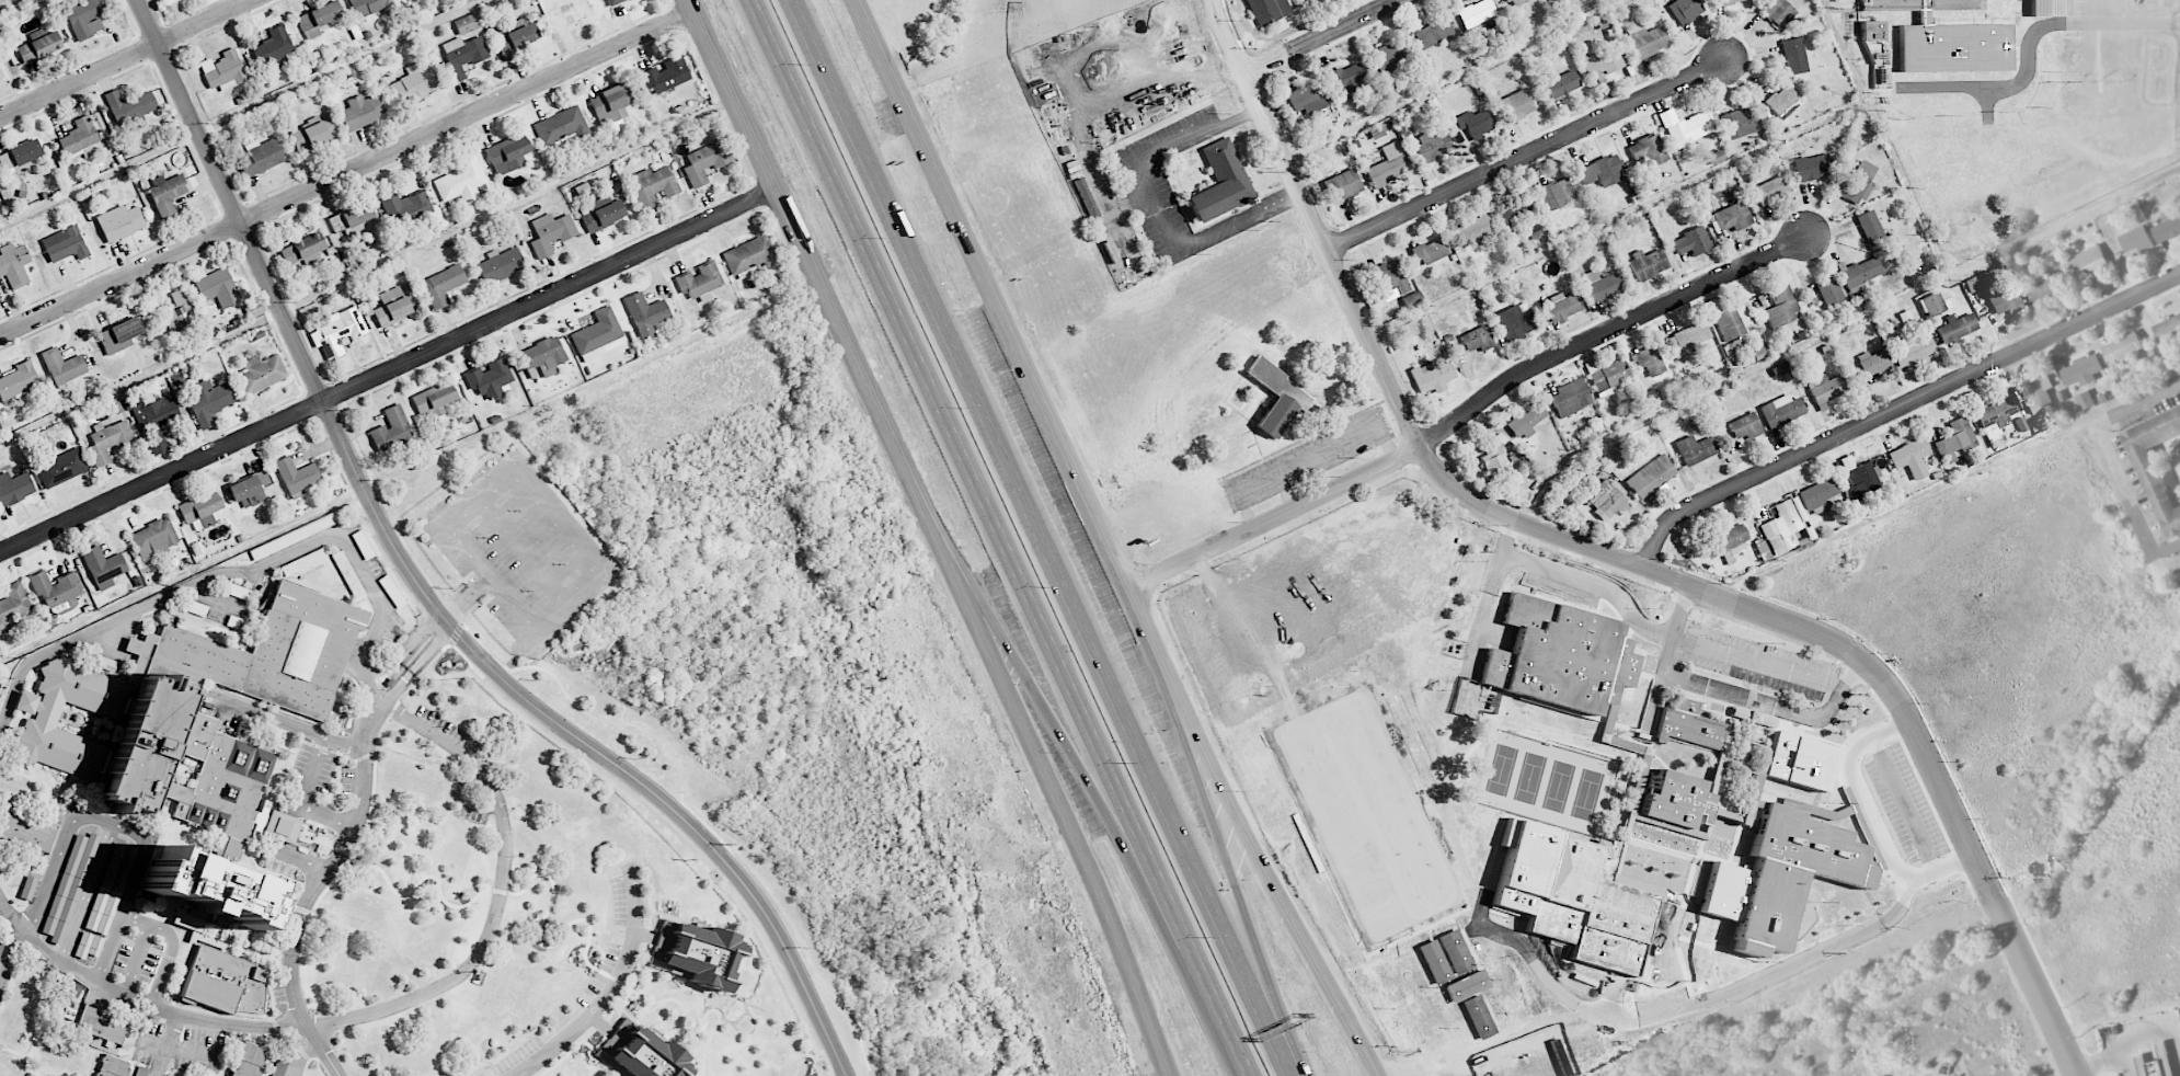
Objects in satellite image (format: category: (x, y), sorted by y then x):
building: (1306, 0)
building: (1726, 1)
building: (613, 2)
building: (1515, 2)
building: (2045, 8)
building: (1267, 10)
building: (1685, 10)
building: (1776, 12)
building: (1476, 13)
building: (83, 18)
building: (317, 19)
building: (467, 23)
building: (1870, 31)
building: (1433, 33)
building: (517, 37)
road: (1322, 37)
building: (1946, 38)
building: (1645, 39)
road: (2030, 44)
building: (39, 47)
building: (273, 47)
building: (1793, 56)
building: (461, 57)
road: (123, 58)
building: (1388, 59)
building: (1602, 65)
building: (223, 70)
building: (0, 75)
building: (666, 76)
building: (1346, 78)
building: (413, 84)
building: (1562, 84)
building: (1307, 98)
building: (1782, 98)
building: (610, 104)
building: (129, 105)
building: (1516, 105)
building: (363, 111)
building: (1739, 123)
building: (1475, 124)
building: (560, 127)
building: (1684, 127)
building: (313, 134)
building: (79, 138)
building: (1432, 144)
building: (1648, 150)
building: (508, 153)
road: (1157, 153)
road: (1527, 156)
building: (20, 157)
building: (260, 157)
building: (705, 162)
building: (1388, 164)
building: (1812, 167)
building: (1602, 171)
road: (347, 172)
building: (461, 180)
building: (1220, 182)
building: (1857, 183)
building: (653, 185)
building: (1342, 185)
building: (1770, 190)
building: (1559, 192)
building: (167, 194)
building: (405, 206)
building: (1507, 214)
building: (604, 216)
building: (1732, 216)
building: (351, 217)
road: (1240, 220)
building: (119, 222)
building: (1871, 229)
building: (2167, 229)
building: (1475, 230)
building: (550, 232)
building: (2135, 240)
building: (1691, 241)
building: (65, 244)
building: (302, 250)
building: (1430, 251)
building: (751, 256)
building: (1648, 263)
building: (2085, 263)
building: (14, 264)
building: (500, 264)
road: (814, 271)
building: (1860, 274)
building: (1390, 277)
building: (700, 282)
building: (443, 285)
building: (1600, 285)
building: (218, 287)
building: (2043, 289)
building: (1828, 291)
building: (1412, 301)
building: (2004, 301)
building: (1936, 302)
building: (1562, 306)
building: (1780, 306)
building: (391, 307)
building: (645, 312)
building: (1515, 321)
building: (1732, 322)
building: (1957, 328)
building: (336, 331)
building: (2168, 331)
building: (119, 335)
building: (598, 335)
building: (1687, 336)
building: (1477, 339)
building: (2122, 347)
building: (1914, 352)
building: (542, 354)
road: (1023, 358)
building: (1649, 362)
building: (1873, 363)
building: (62, 366)
building: (1779, 369)
road: (388, 370)
building: (2084, 370)
building: (261, 373)
building: (1432, 376)
building: (1608, 377)
building: (490, 378)
building: (18, 382)
building: (1826, 388)
building: (2038, 394)
building: (1277, 397)
building: (1569, 398)
building: (208, 400)
building: (434, 400)
building: (2086, 401)
road: (1900, 409)
building: (1781, 411)
road: (1468, 412)
building: (1995, 416)
building: (1525, 421)
building: (156, 422)
building: (391, 426)
building: (1745, 426)
building: (1954, 439)
building: (107, 440)
building: (1695, 449)
road: (1306, 457)
building: (1909, 457)
road: (2112, 461)
building: (1495, 465)
building: (2160, 467)
building: (61, 468)
building: (296, 474)
building: (1651, 477)
building: (1859, 478)
building: (14, 488)
building: (250, 490)
road: (1285, 490)
building: (1817, 493)
building: (1605, 500)
building: (1783, 523)
road: (553, 525)
building: (294, 536)
building: (153, 537)
road: (997, 538)
road: (1034, 539)
road: (1506, 540)
building: (1728, 540)
road: (1622, 561)
building: (343, 565)
building: (103, 566)
road: (238, 569)
road: (1537, 569)
road: (421, 591)
road: (464, 598)
building: (14, 605)
road: (403, 655)
building: (1559, 656)
road: (1759, 661)
road: (415, 666)
road: (1034, 683)
road: (1733, 692)
road: (1654, 700)
road: (296, 724)
building: (1687, 725)
building: (197, 735)
road: (312, 769)
building: (414, 782)
road: (1064, 805)
road: (328, 813)
road: (91, 819)
road: (1874, 820)
building: (280, 826)
building: (26, 827)
road: (283, 850)
building: (1791, 873)
building: (69, 886)
building: (27, 888)
building: (110, 889)
road: (315, 890)
road: (88, 893)
road: (501, 894)
road: (1239, 898)
road: (1283, 900)
road: (136, 918)
building: (1, 941)
building: (89, 945)
road: (10, 948)
road: (110, 949)
building: (695, 952)
road: (137, 960)
road: (168, 960)
building: (1434, 961)
building: (1461, 968)
road: (1777, 972)
building: (1409, 974)
building: (223, 983)
building: (1387, 984)
building: (1512, 987)
road: (610, 991)
road: (137, 1001)
building: (25, 1005)
building: (1494, 1006)
building: (1432, 1016)
building: (1478, 1016)
building: (101, 1025)
building: (1411, 1027)
road: (2178, 1042)
road: (2124, 1045)
road: (167, 1046)
road: (176, 1050)
building: (642, 1052)
road: (300, 1055)
building: (60, 1058)
building: (249, 1060)
road: (2125, 1062)
building: (2156, 1063)
building: (11, 1066)
building: (112, 1066)
building: (279, 1067)
building: (1534, 1067)
building: (140, 1071)

